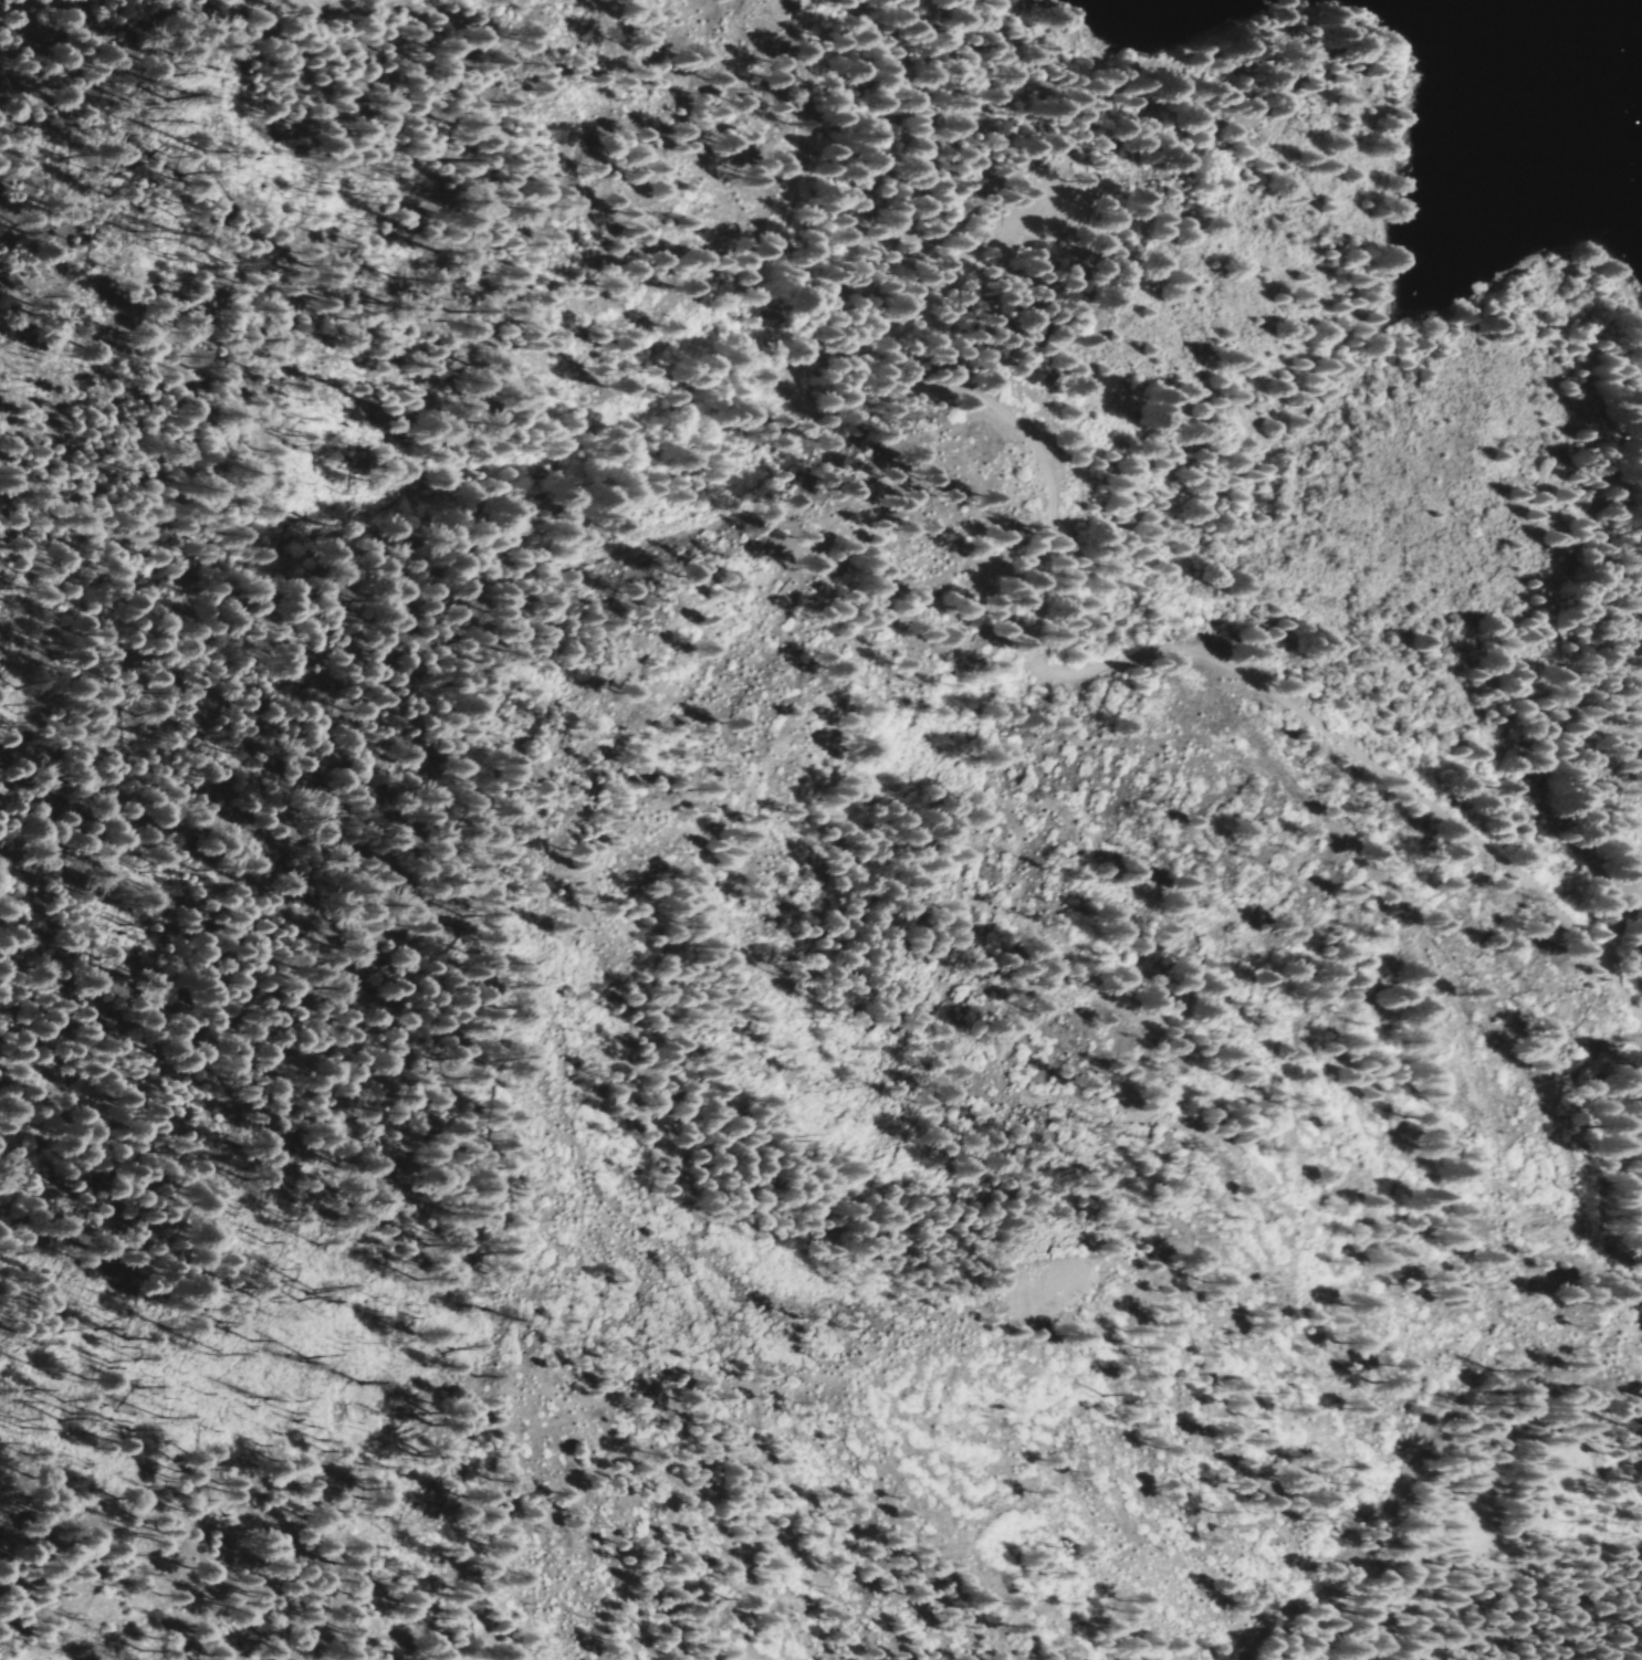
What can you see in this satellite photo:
road: (1016, 626)

